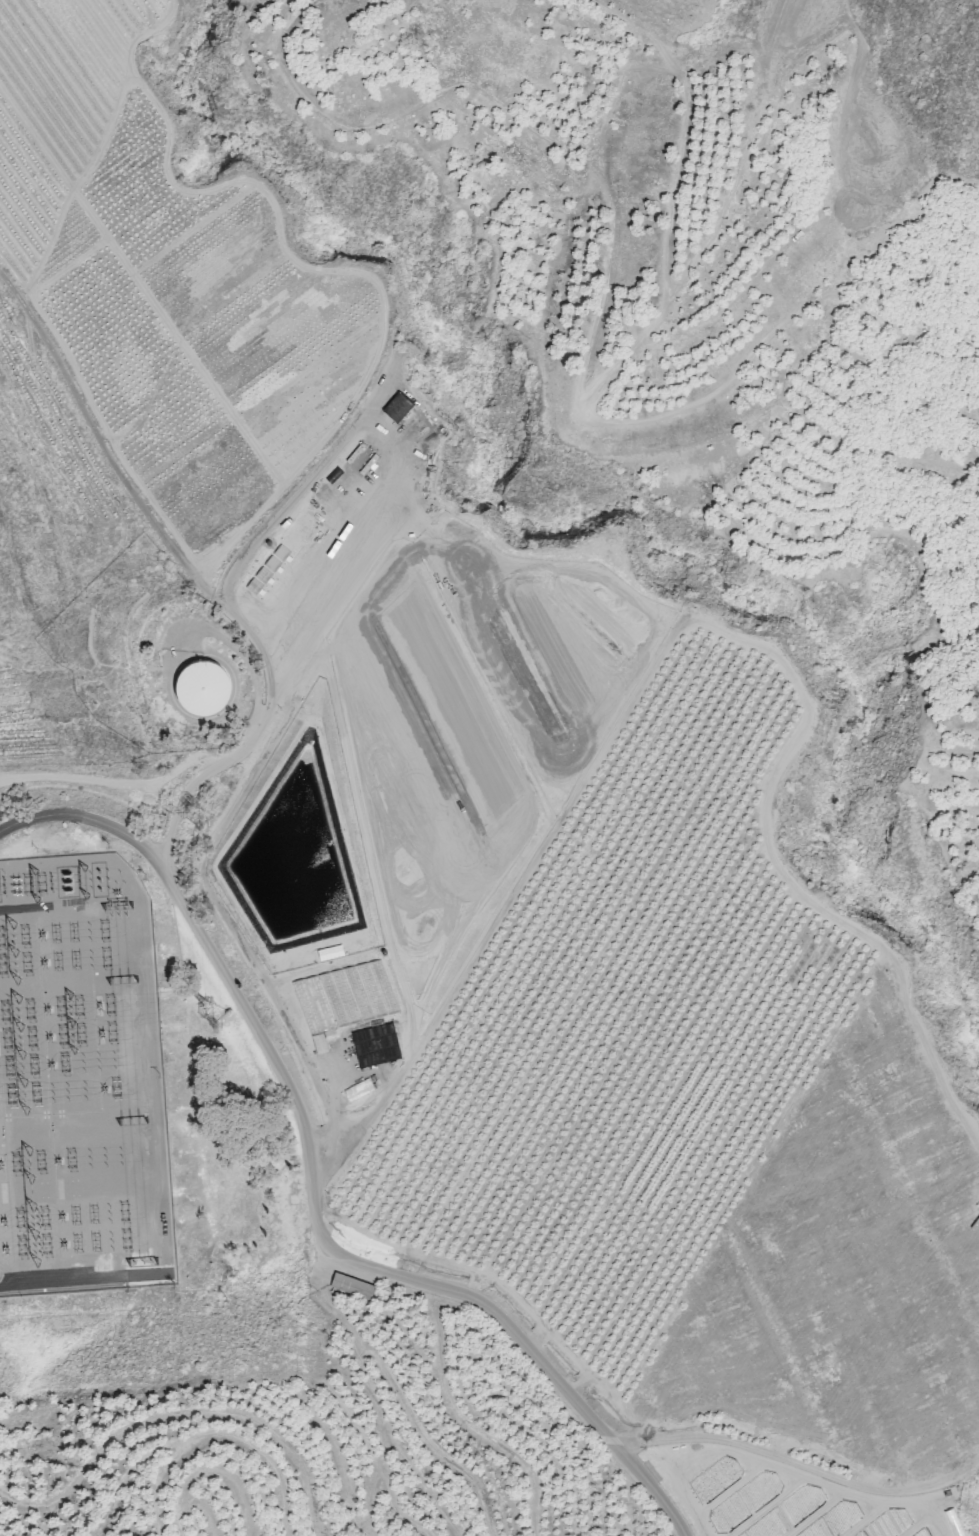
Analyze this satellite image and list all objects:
building: (398, 407)
building: (200, 687)
storage tank: (203, 688)
road: (195, 779)
power tower: (194, 814)
road: (88, 817)
power tower: (206, 1016)
building: (377, 1044)
power substation: (81, 1081)
building: (363, 1088)
road: (333, 1113)
road: (355, 1261)
building: (351, 1285)
road: (746, 1445)

